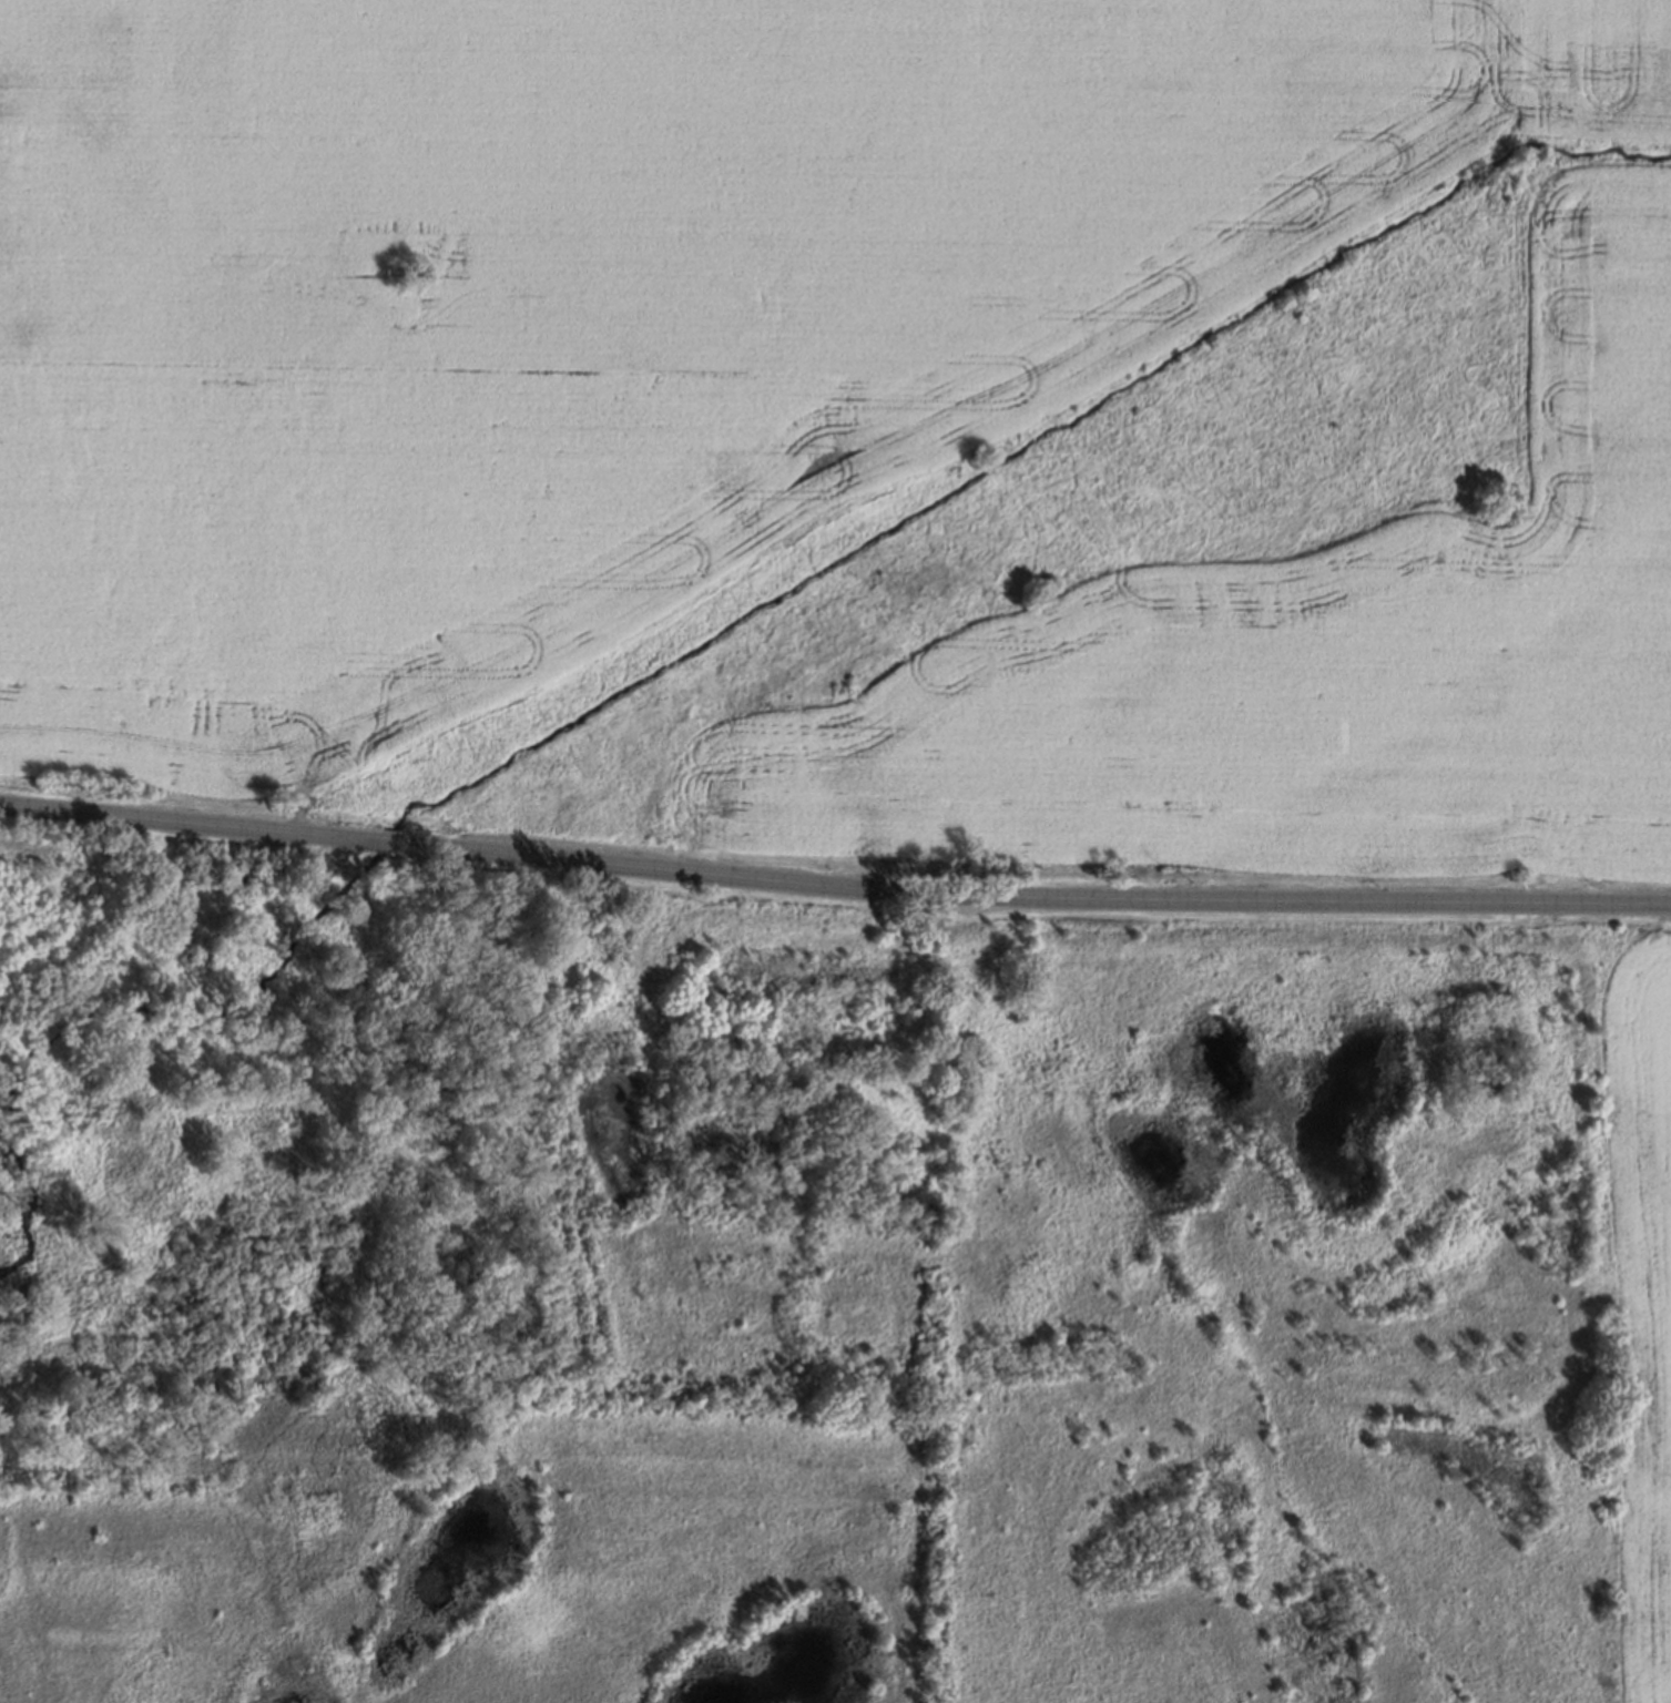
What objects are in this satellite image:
road: (189, 824)
road: (386, 844)
road: (1031, 896)

